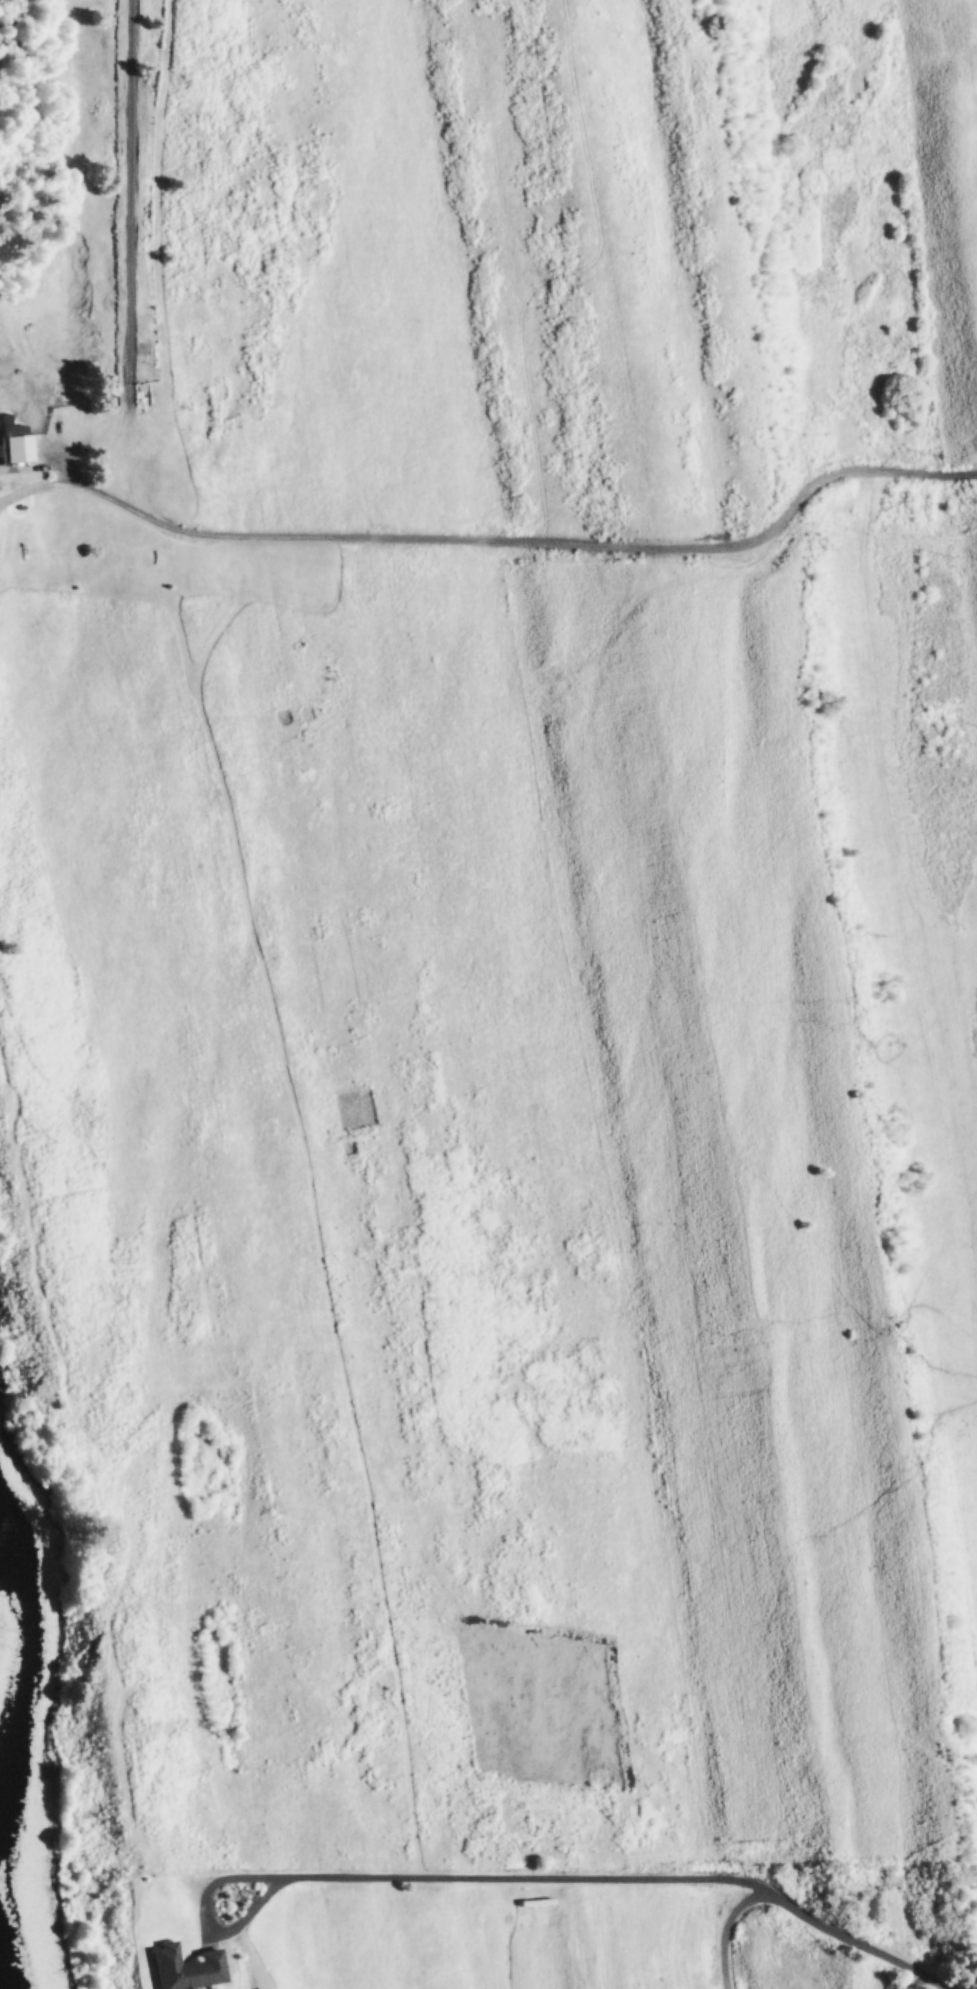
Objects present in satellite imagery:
building: (127, 398)
building: (15, 443)
road: (497, 547)
road: (422, 1878)
road: (804, 1914)
building: (182, 1968)

